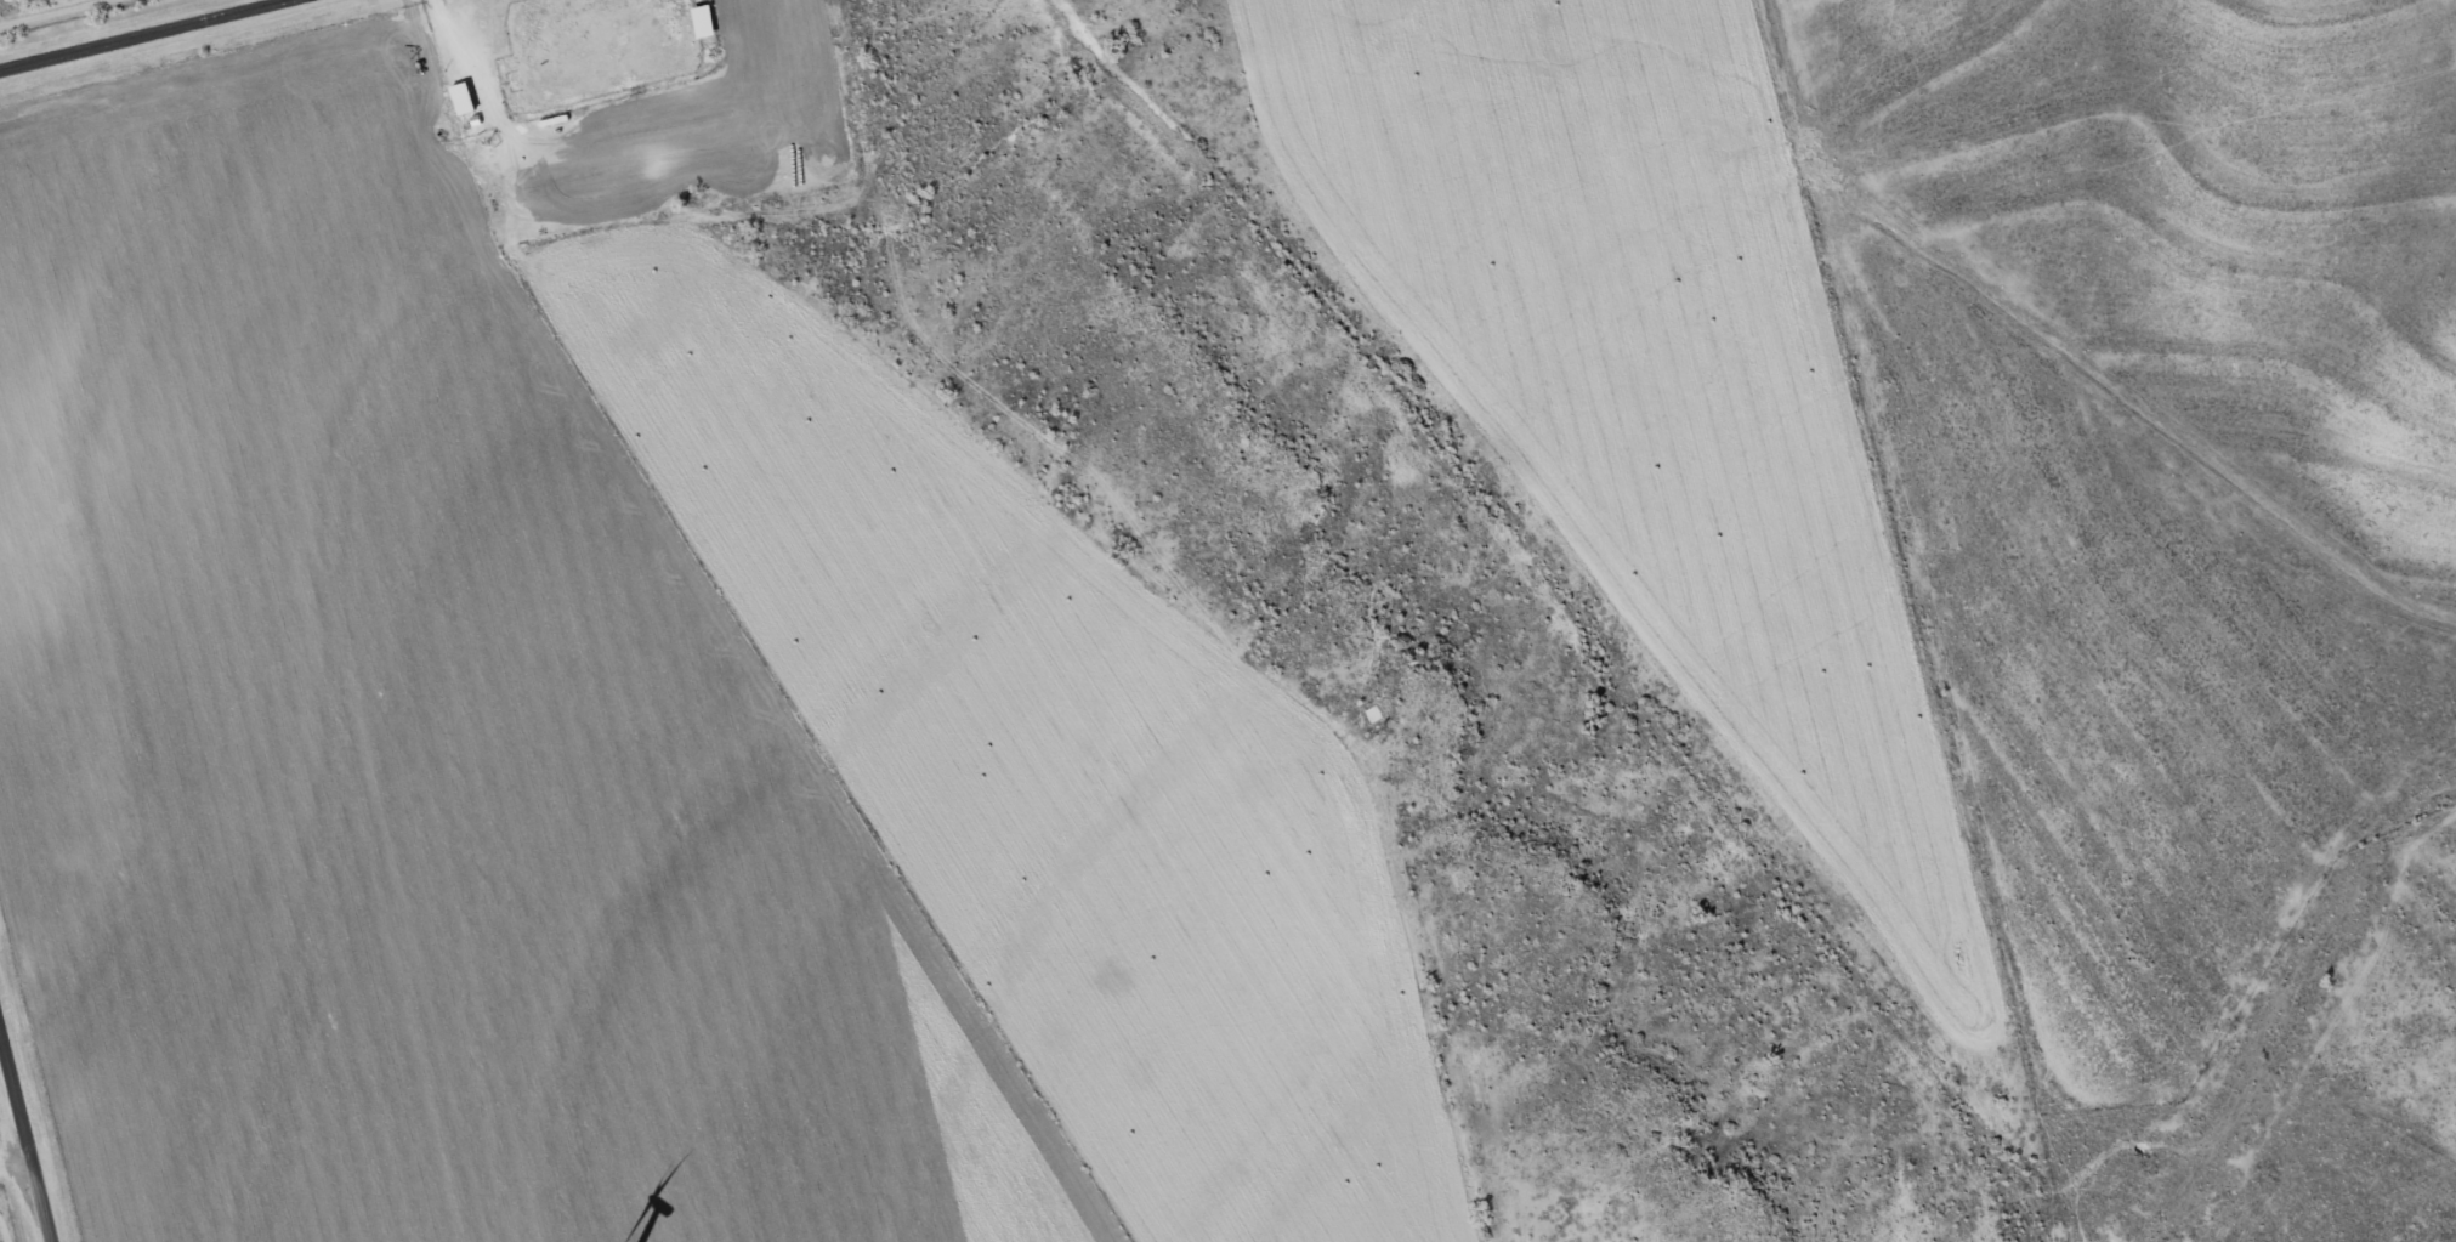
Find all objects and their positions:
building: (703, 21)
road: (135, 33)
building: (463, 98)
road: (28, 1125)

